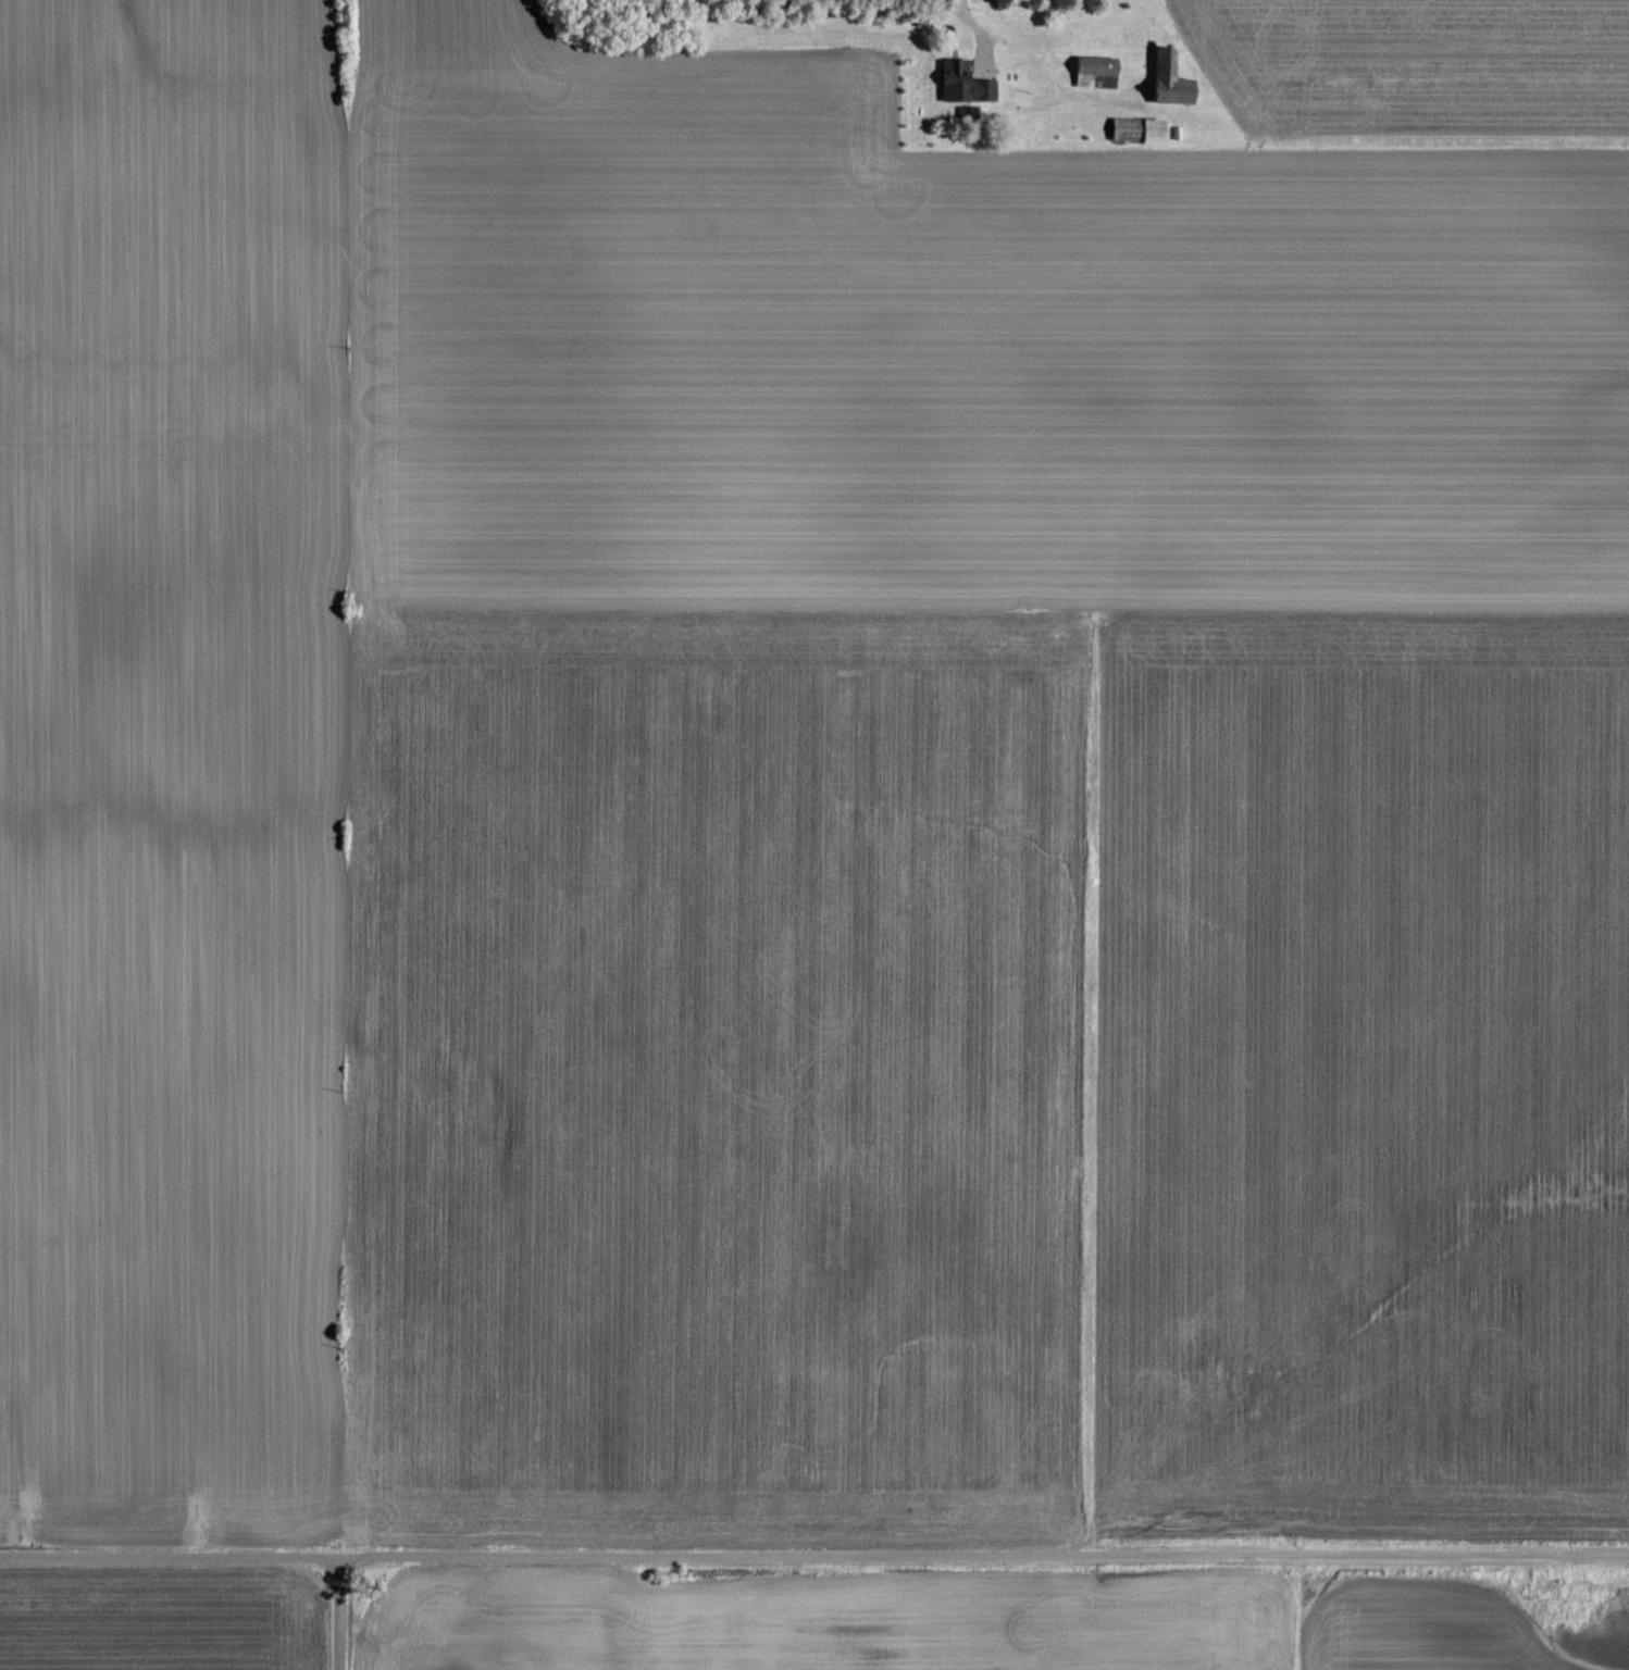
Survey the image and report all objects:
road: (968, 11)
road: (1045, 102)
road: (979, 1573)
road: (164, 1580)
road: (327, 1625)

